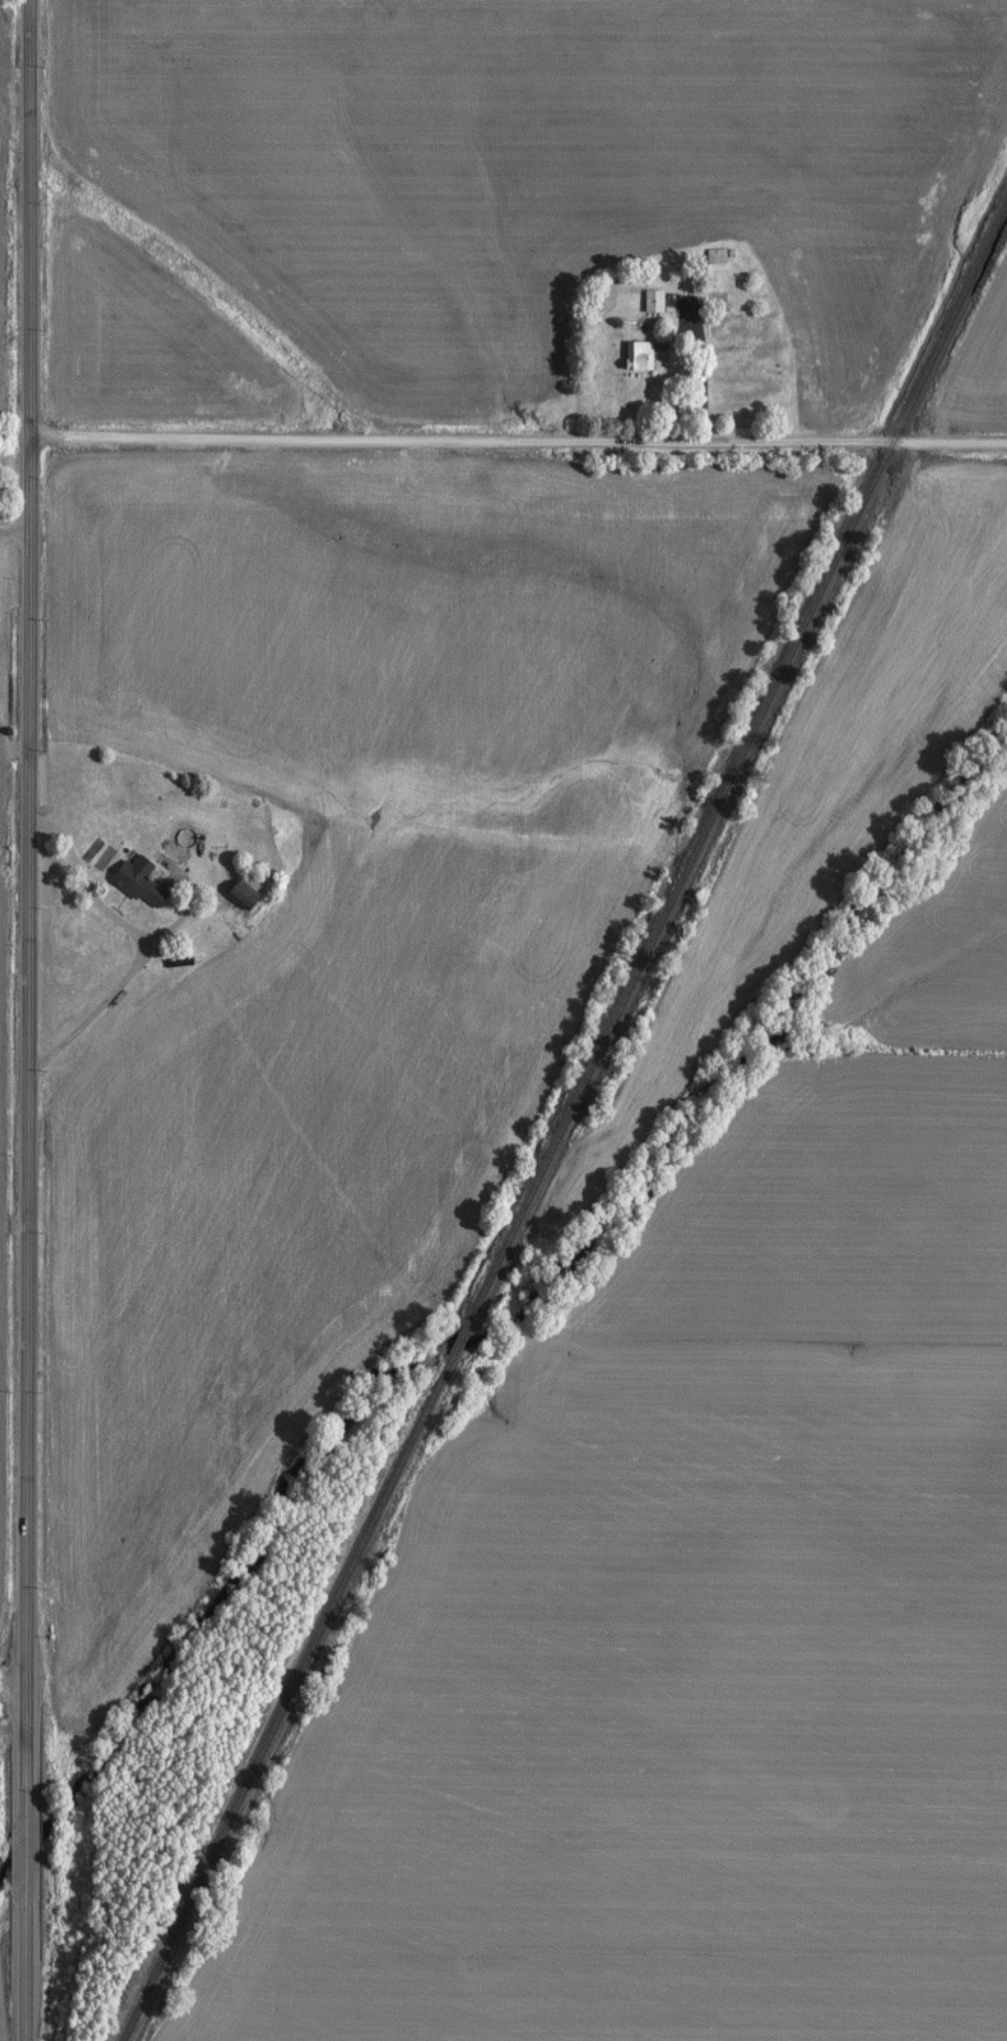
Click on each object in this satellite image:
building: (710, 260)
building: (647, 302)
building: (633, 356)
road: (704, 371)
road: (518, 442)
road: (15, 533)
railway: (735, 757)
building: (131, 882)
road: (26, 1020)
railway: (453, 1341)
road: (14, 1678)
railway: (282, 1702)

